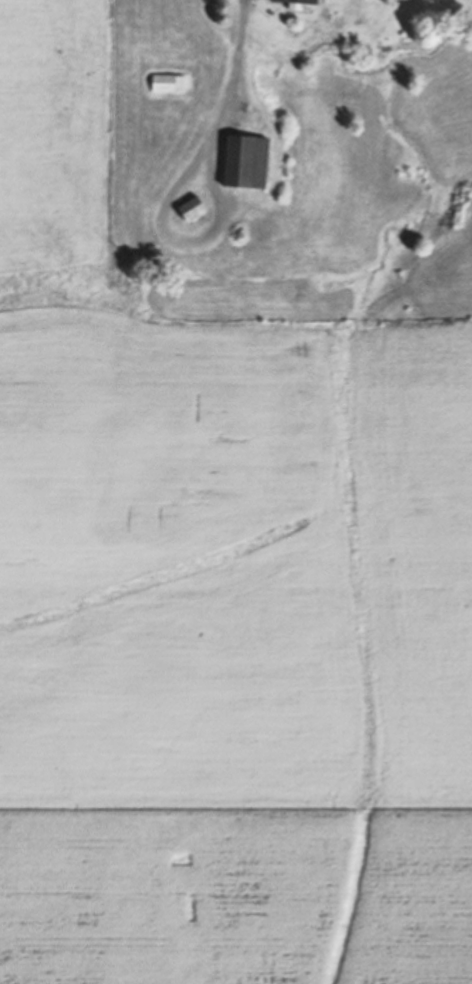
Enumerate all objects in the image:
building: (300, 3)
road: (233, 73)
building: (169, 82)
building: (249, 160)
building: (194, 207)
road: (181, 240)
road: (296, 312)

